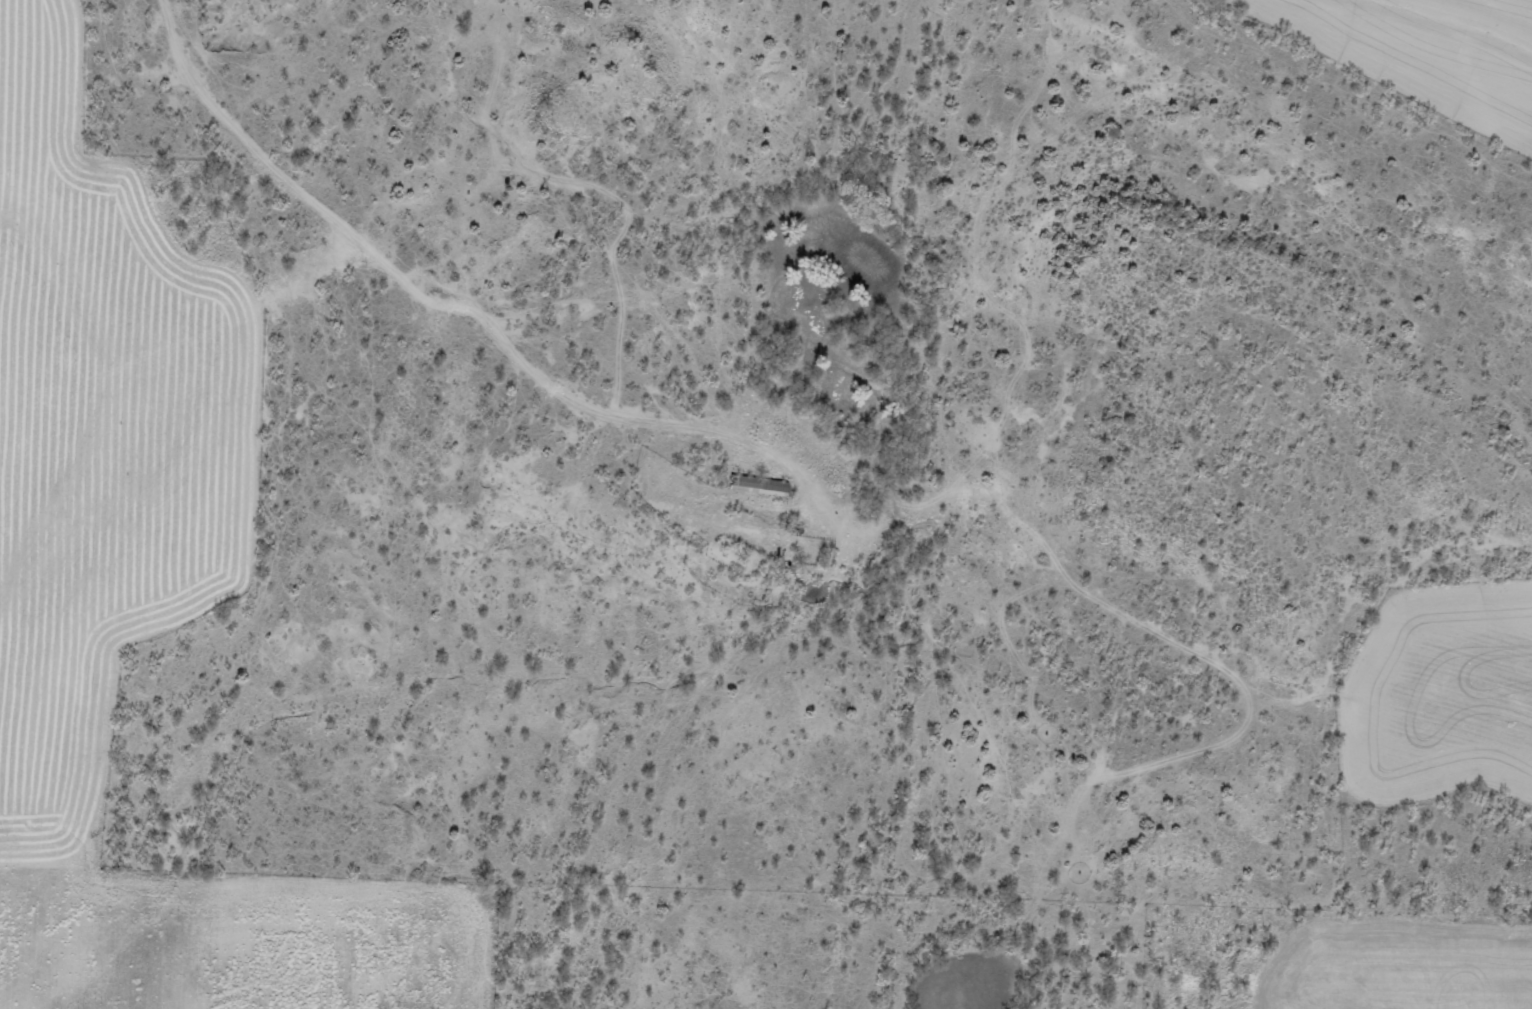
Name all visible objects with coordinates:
road: (431, 285)

